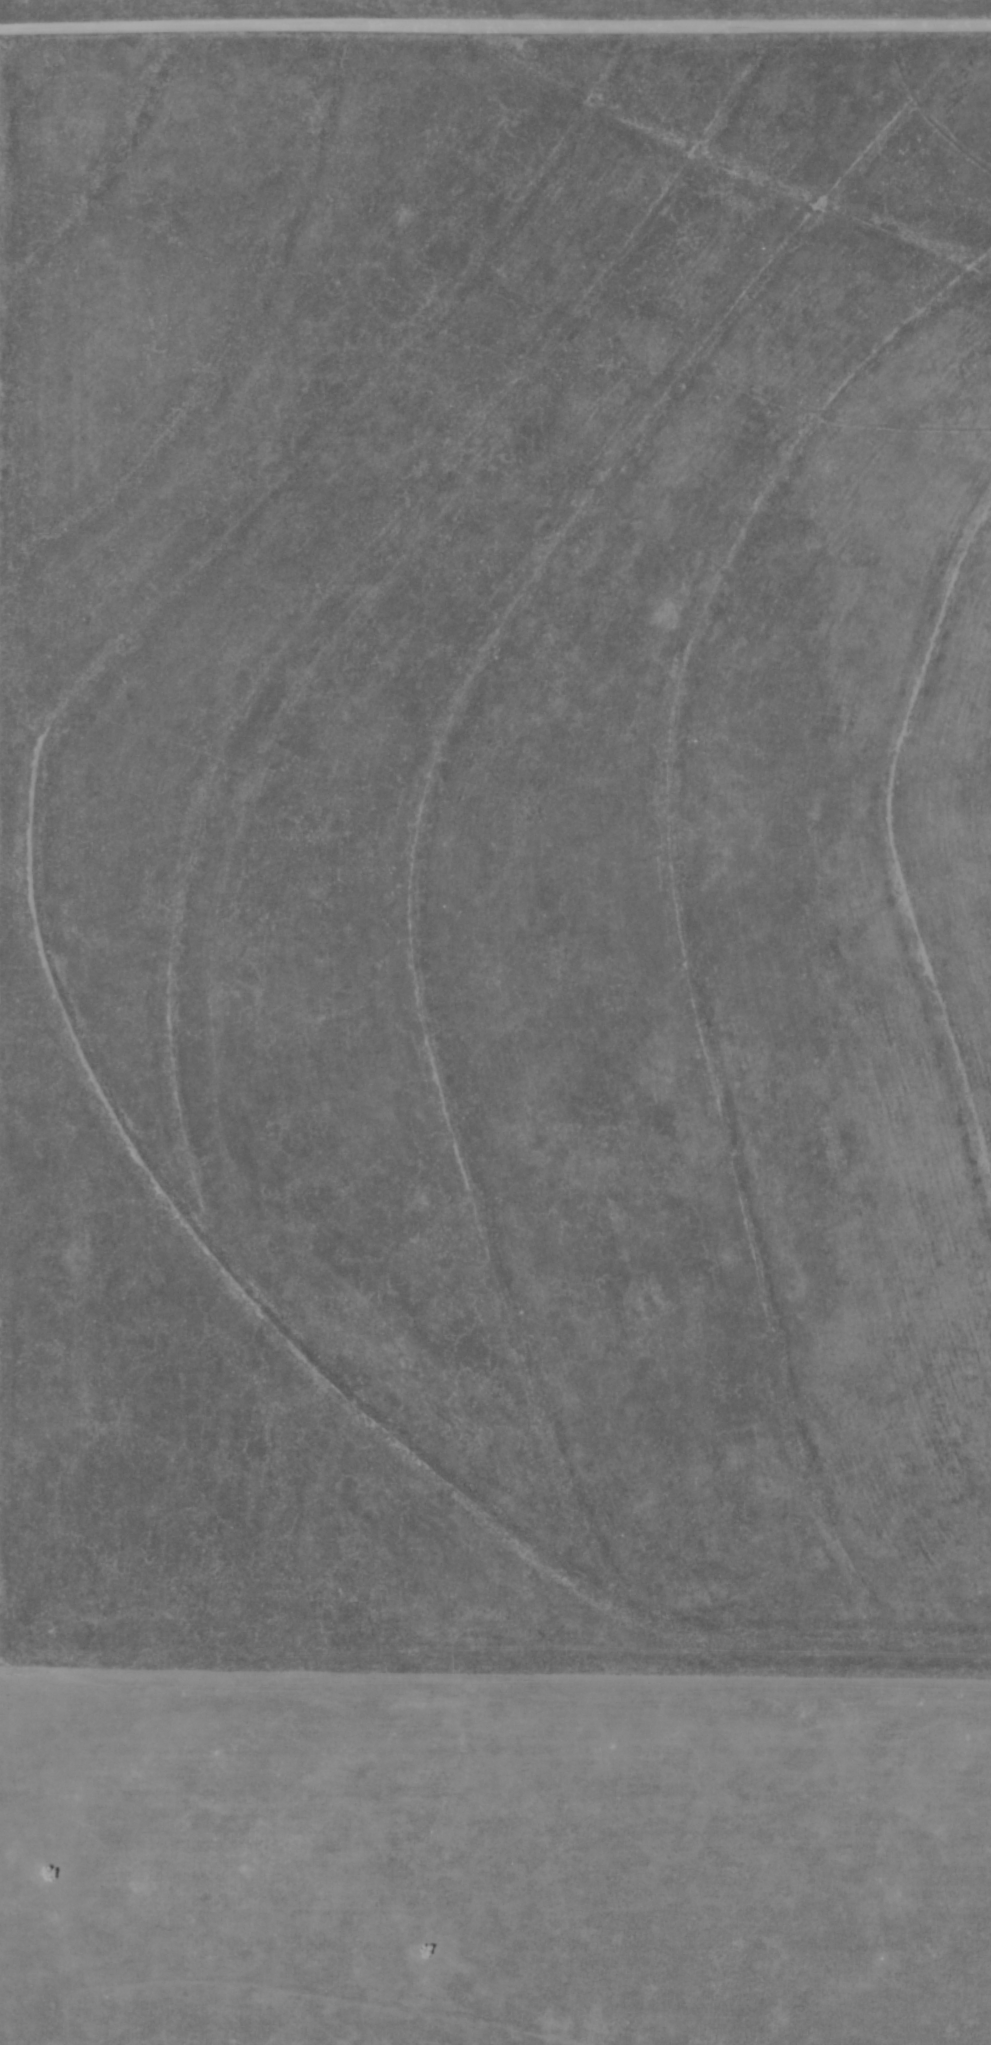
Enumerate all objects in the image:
road: (495, 34)

